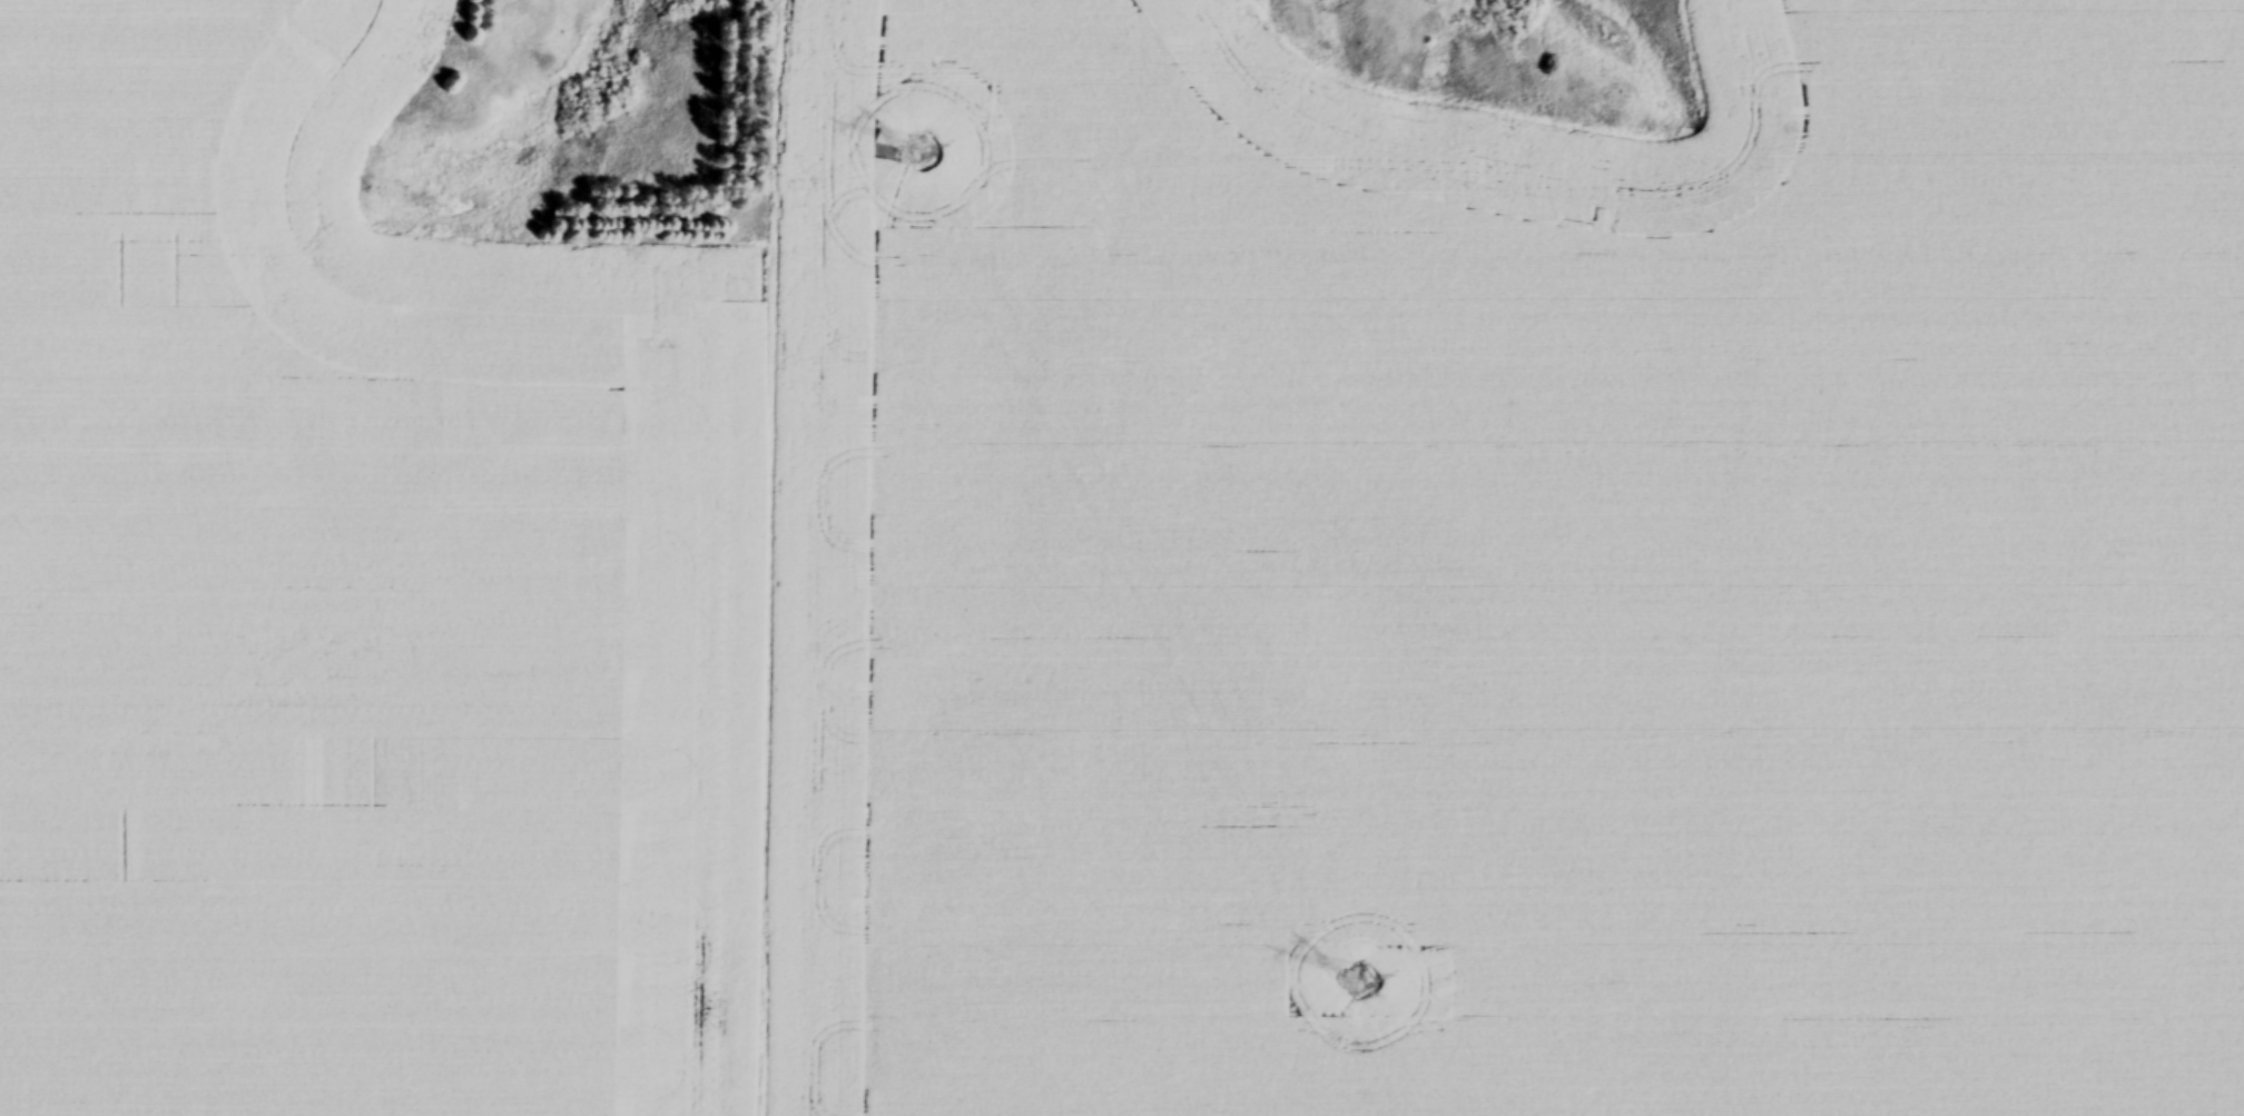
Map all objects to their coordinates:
power tower: (922, 158)
power tower: (1360, 982)

